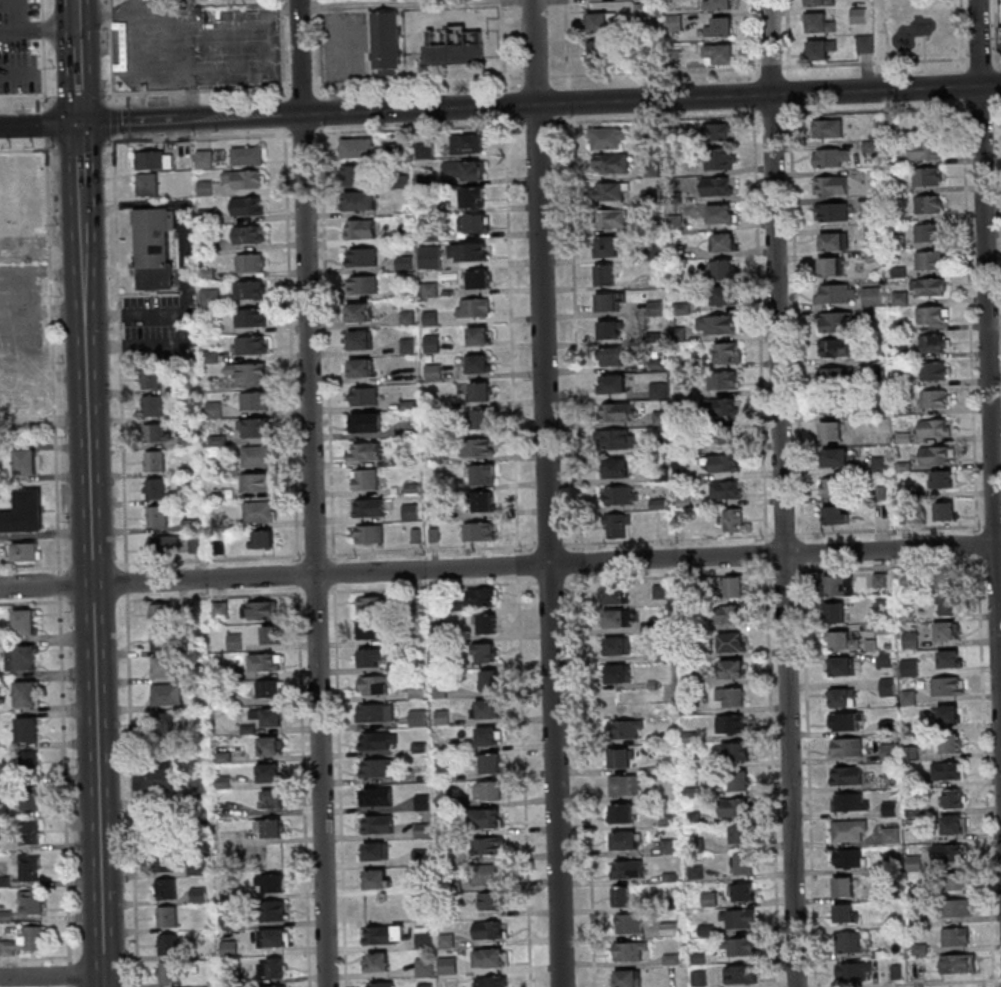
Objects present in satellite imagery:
building: (820, 2)
road: (401, 5)
building: (717, 5)
road: (42, 9)
road: (276, 11)
road: (78, 14)
road: (19, 15)
building: (858, 15)
building: (673, 22)
building: (819, 22)
building: (598, 23)
road: (173, 25)
road: (42, 28)
building: (719, 28)
park: (926, 29)
road: (40, 30)
building: (385, 42)
power substation: (454, 42)
building: (865, 44)
parking lot: (198, 45)
parking lot: (16, 48)
building: (819, 48)
building: (599, 51)
building: (718, 54)
building: (456, 55)
road: (571, 61)
road: (507, 62)
road: (251, 63)
road: (143, 66)
road: (774, 67)
road: (18, 72)
road: (46, 74)
road: (81, 76)
road: (430, 81)
road: (193, 92)
road: (80, 97)
road: (28, 98)
road: (597, 101)
road: (897, 108)
road: (138, 120)
traffic signals: (83, 123)
road: (41, 124)
road: (48, 124)
building: (931, 124)
building: (827, 128)
building: (718, 131)
road: (312, 133)
building: (607, 139)
road: (112, 142)
building: (468, 143)
road: (84, 145)
building: (357, 148)
building: (395, 149)
road: (30, 150)
building: (424, 150)
building: (924, 150)
building: (247, 155)
road: (83, 157)
building: (831, 157)
building: (719, 158)
building: (204, 159)
building: (158, 161)
building: (610, 164)
building: (465, 170)
building: (358, 175)
building: (927, 177)
building: (244, 178)
building: (429, 179)
building: (401, 180)
building: (831, 184)
building: (152, 186)
building: (718, 186)
building: (610, 192)
building: (472, 196)
building: (360, 199)
building: (246, 205)
building: (928, 205)
parking lot: (24, 208)
building: (429, 209)
building: (831, 211)
building: (721, 214)
building: (610, 220)
building: (473, 222)
building: (360, 229)
building: (406, 233)
building: (928, 233)
building: (248, 234)
building: (433, 234)
road: (67, 240)
building: (833, 240)
road: (24, 241)
building: (723, 241)
building: (607, 246)
building: (157, 250)
building: (470, 251)
building: (362, 256)
building: (405, 261)
building: (929, 261)
building: (251, 262)
road: (798, 266)
building: (831, 266)
road: (762, 267)
building: (723, 269)
road: (43, 273)
building: (603, 274)
building: (478, 279)
building: (364, 284)
road: (121, 286)
building: (928, 288)
building: (249, 289)
building: (433, 291)
building: (837, 293)
road: (990, 293)
building: (722, 294)
building: (871, 296)
building: (900, 299)
building: (609, 300)
building: (473, 307)
parking lot: (170, 309)
parking lot: (20, 310)
building: (357, 311)
road: (44, 313)
building: (931, 315)
road: (973, 316)
building: (250, 317)
building: (407, 317)
building: (430, 317)
road: (33, 322)
building: (836, 322)
building: (718, 324)
building: (609, 330)
building: (478, 335)
building: (359, 339)
building: (432, 342)
building: (933, 344)
building: (251, 345)
building: (407, 345)
building: (834, 348)
building: (728, 352)
road: (55, 355)
building: (612, 357)
building: (476, 362)
building: (360, 367)
building: (433, 371)
building: (248, 372)
building: (933, 372)
road: (44, 374)
building: (836, 376)
building: (151, 378)
building: (723, 380)
building: (612, 384)
building: (462, 387)
building: (658, 390)
building: (479, 391)
building: (364, 395)
building: (934, 400)
building: (19, 401)
building: (254, 401)
building: (152, 405)
building: (412, 406)
building: (832, 406)
building: (717, 407)
building: (617, 411)
building: (483, 418)
building: (660, 418)
road: (45, 421)
building: (366, 422)
building: (254, 429)
building: (934, 429)
building: (830, 431)
building: (157, 432)
building: (726, 435)
building: (616, 439)
building: (477, 446)
building: (363, 450)
building: (936, 456)
building: (256, 457)
building: (437, 458)
building: (834, 458)
building: (414, 459)
building: (154, 461)
building: (724, 463)
building: (28, 465)
building: (879, 465)
building: (616, 468)
building: (483, 474)
building: (663, 475)
building: (364, 479)
building: (941, 479)
building: (257, 483)
building: (831, 487)
building: (412, 488)
building: (155, 489)
building: (725, 491)
road: (316, 493)
road: (552, 493)
road: (786, 493)
building: (621, 495)
building: (482, 500)
building: (684, 502)
building: (373, 507)
building: (259, 511)
building: (410, 511)
building: (944, 511)
building: (835, 514)
building: (26, 516)
building: (157, 516)
building: (732, 520)
road: (584, 522)
building: (615, 526)
building: (479, 531)
building: (369, 533)
road: (784, 535)
building: (437, 536)
building: (419, 537)
building: (261, 539)
building: (164, 544)
building: (194, 545)
road: (552, 546)
road: (436, 551)
building: (29, 553)
road: (318, 556)
road: (521, 556)
road: (215, 560)
road: (500, 566)
road: (31, 568)
road: (785, 572)
building: (946, 580)
building: (907, 581)
road: (553, 582)
road: (130, 584)
road: (62, 585)
road: (437, 587)
building: (839, 587)
road: (97, 588)
building: (734, 588)
road: (319, 592)
building: (661, 592)
building: (615, 595)
road: (217, 597)
building: (476, 598)
road: (31, 603)
building: (372, 604)
building: (945, 604)
building: (261, 610)
building: (836, 612)
building: (159, 613)
building: (729, 615)
building: (614, 619)
building: (24, 621)
building: (485, 623)
building: (370, 629)
building: (438, 631)
building: (949, 633)
building: (271, 634)
building: (164, 640)
building: (234, 641)
building: (844, 644)
building: (737, 645)
building: (617, 646)
building: (483, 652)
building: (24, 657)
building: (371, 657)
building: (264, 662)
building: (953, 662)
building: (163, 666)
building: (845, 670)
building: (737, 672)
building: (618, 674)
building: (489, 679)
building: (374, 685)
building: (269, 688)
building: (950, 689)
building: (26, 693)
building: (166, 694)
building: (731, 697)
building: (845, 700)
building: (484, 708)
building: (374, 712)
building: (268, 716)
building: (417, 717)
building: (953, 717)
building: (846, 721)
building: (166, 724)
building: (731, 724)
building: (26, 729)
building: (626, 730)
building: (488, 736)
building: (377, 740)
building: (270, 745)
building: (954, 746)
building: (846, 747)
building: (736, 751)
building: (889, 752)
building: (619, 759)
building: (28, 762)
building: (489, 764)
building: (379, 767)
building: (268, 772)
building: (954, 772)
road: (990, 772)
building: (420, 773)
building: (847, 775)
building: (154, 776)
road: (66, 780)
building: (739, 781)
building: (624, 786)
road: (133, 791)
building: (489, 791)
building: (376, 796)
building: (27, 797)
building: (270, 798)
building: (851, 801)
building: (957, 801)
building: (735, 807)
building: (890, 808)
building: (913, 809)
building: (5, 813)
building: (622, 814)
building: (486, 819)
building: (375, 823)
building: (268, 828)
building: (956, 828)
building: (849, 830)
building: (26, 831)
building: (745, 838)
building: (624, 841)
building: (487, 846)
building: (373, 851)
building: (954, 855)
building: (847, 858)
building: (166, 861)
building: (744, 863)
building: (29, 866)
building: (197, 866)
building: (627, 869)
building: (488, 874)
building: (375, 878)
building: (5, 880)
building: (269, 883)
building: (961, 884)
building: (166, 888)
building: (848, 890)
building: (741, 891)
building: (198, 894)
building: (621, 897)
building: (491, 900)
building: (31, 901)
building: (272, 910)
building: (958, 910)
building: (6, 914)
building: (848, 915)
building: (167, 916)
building: (738, 919)
building: (629, 923)
building: (489, 929)
building: (669, 929)
building: (382, 934)
building: (273, 937)
building: (423, 937)
building: (446, 939)
building: (958, 939)
building: (23, 940)
building: (848, 942)
building: (167, 944)
building: (738, 947)
building: (228, 948)
building: (629, 951)
road: (35, 956)
building: (489, 957)
building: (671, 959)
building: (376, 961)
building: (447, 965)
building: (272, 966)
building: (960, 966)
building: (424, 968)
building: (168, 971)
building: (853, 971)
building: (741, 974)
road: (73, 975)
road: (54, 976)
building: (625, 978)
building: (698, 978)
building: (491, 981)
road: (922, 983)
building: (380, 984)
building: (425, 985)
road: (74, 986)
building: (273, 986)

